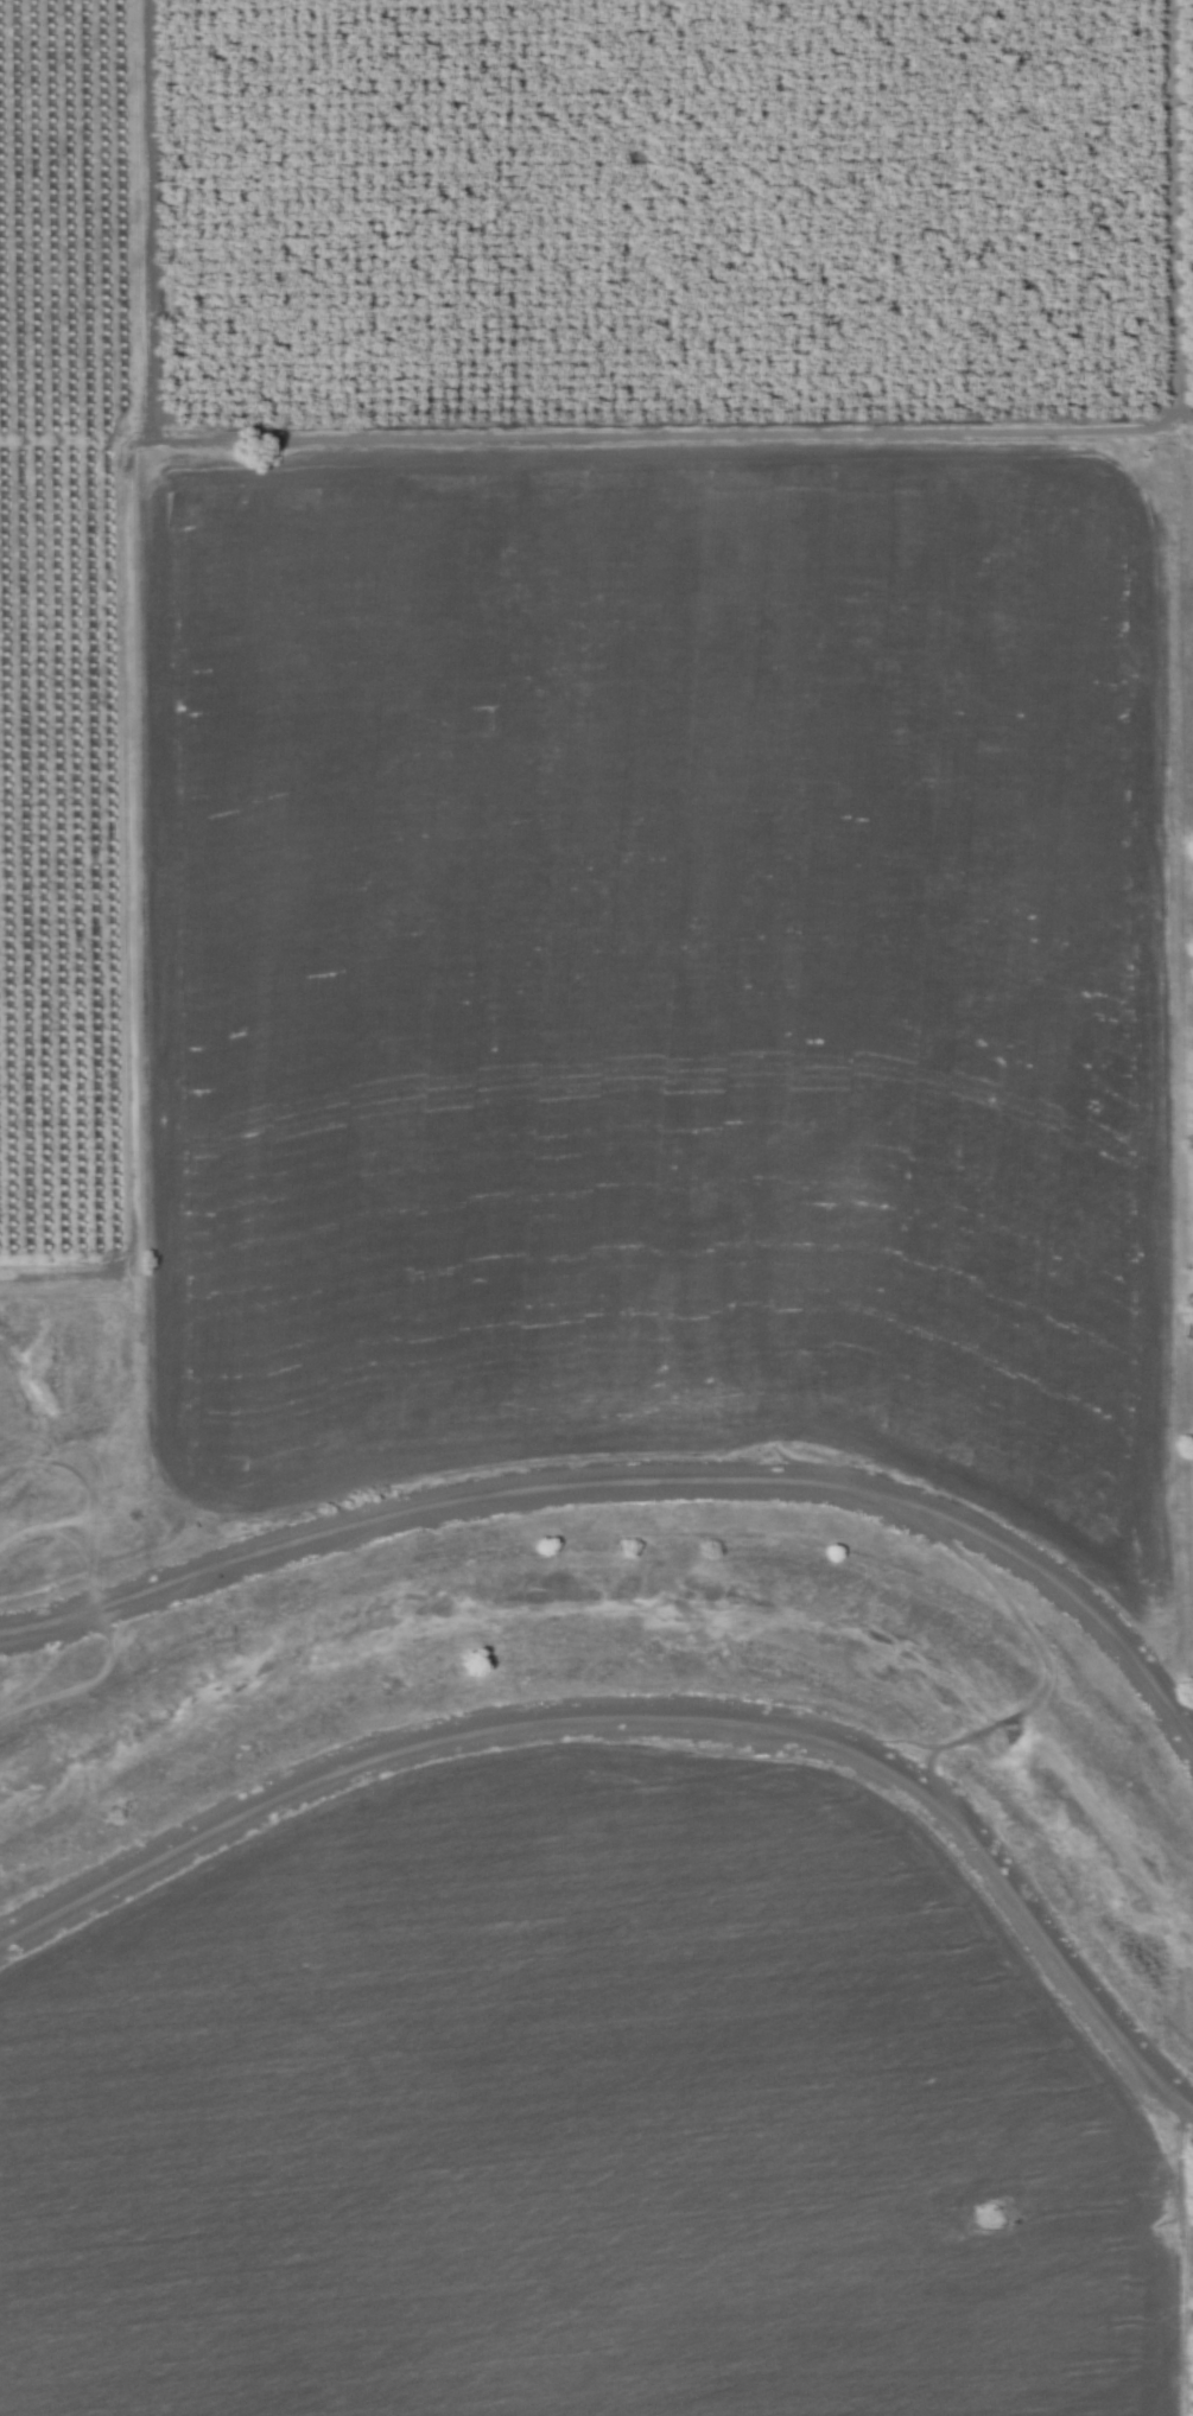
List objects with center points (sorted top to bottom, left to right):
crop: (1182, 224)
road: (640, 1474)
road: (656, 1711)
road: (1181, 2256)

